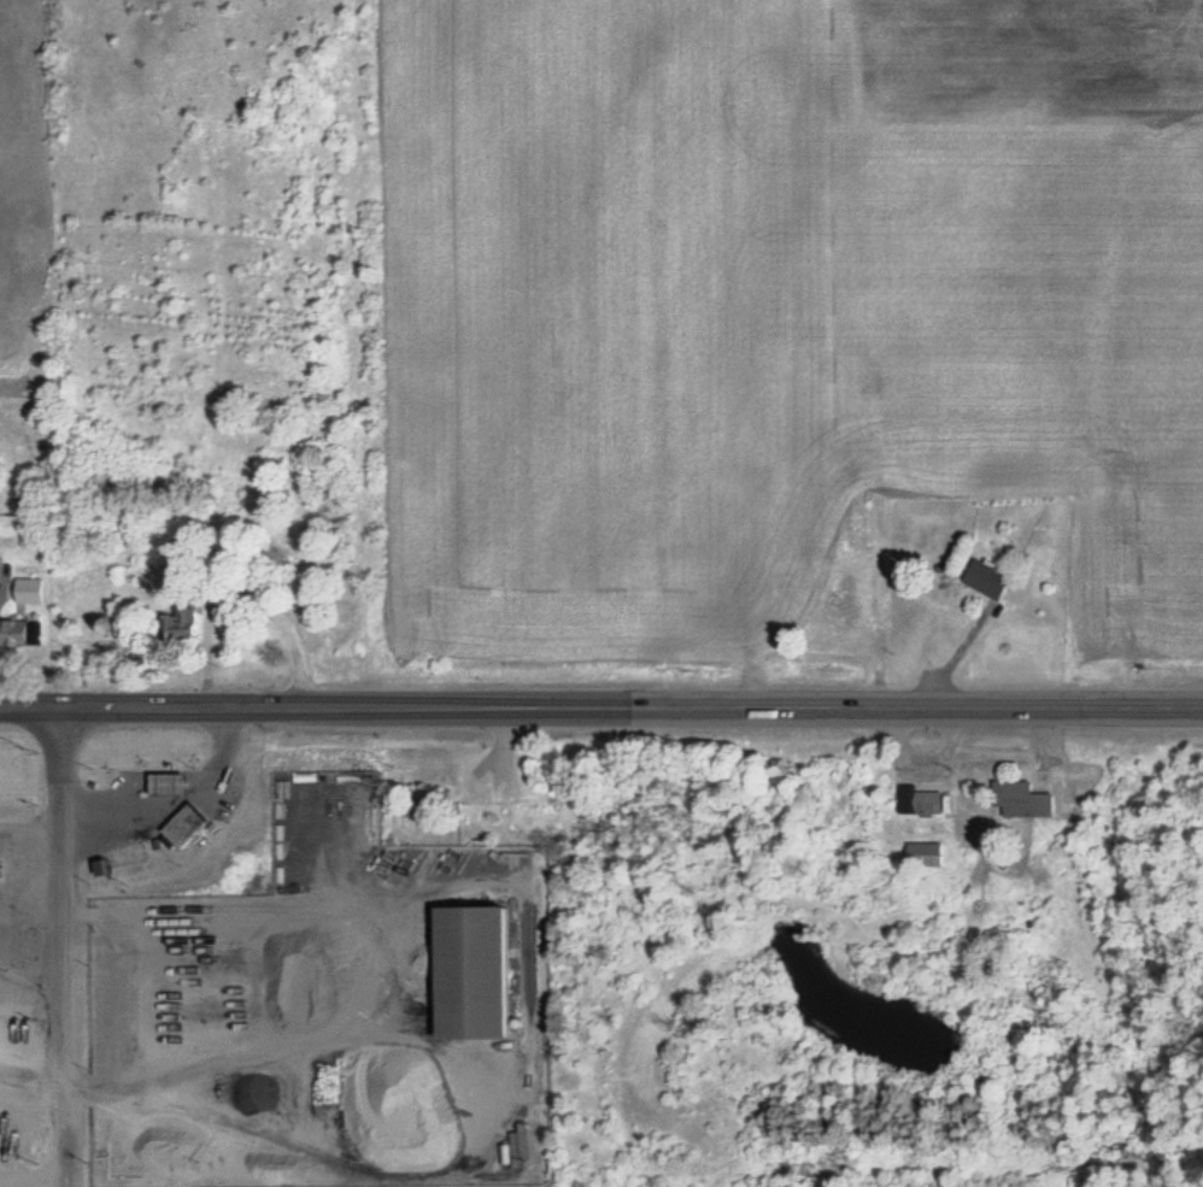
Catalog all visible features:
building: (855, 523)
building: (14, 525)
building: (985, 577)
building: (181, 624)
building: (19, 633)
road: (33, 701)
road: (634, 701)
building: (165, 781)
building: (515, 793)
building: (1019, 798)
building: (923, 800)
building: (183, 823)
building: (923, 853)
road: (65, 945)
building: (469, 970)

